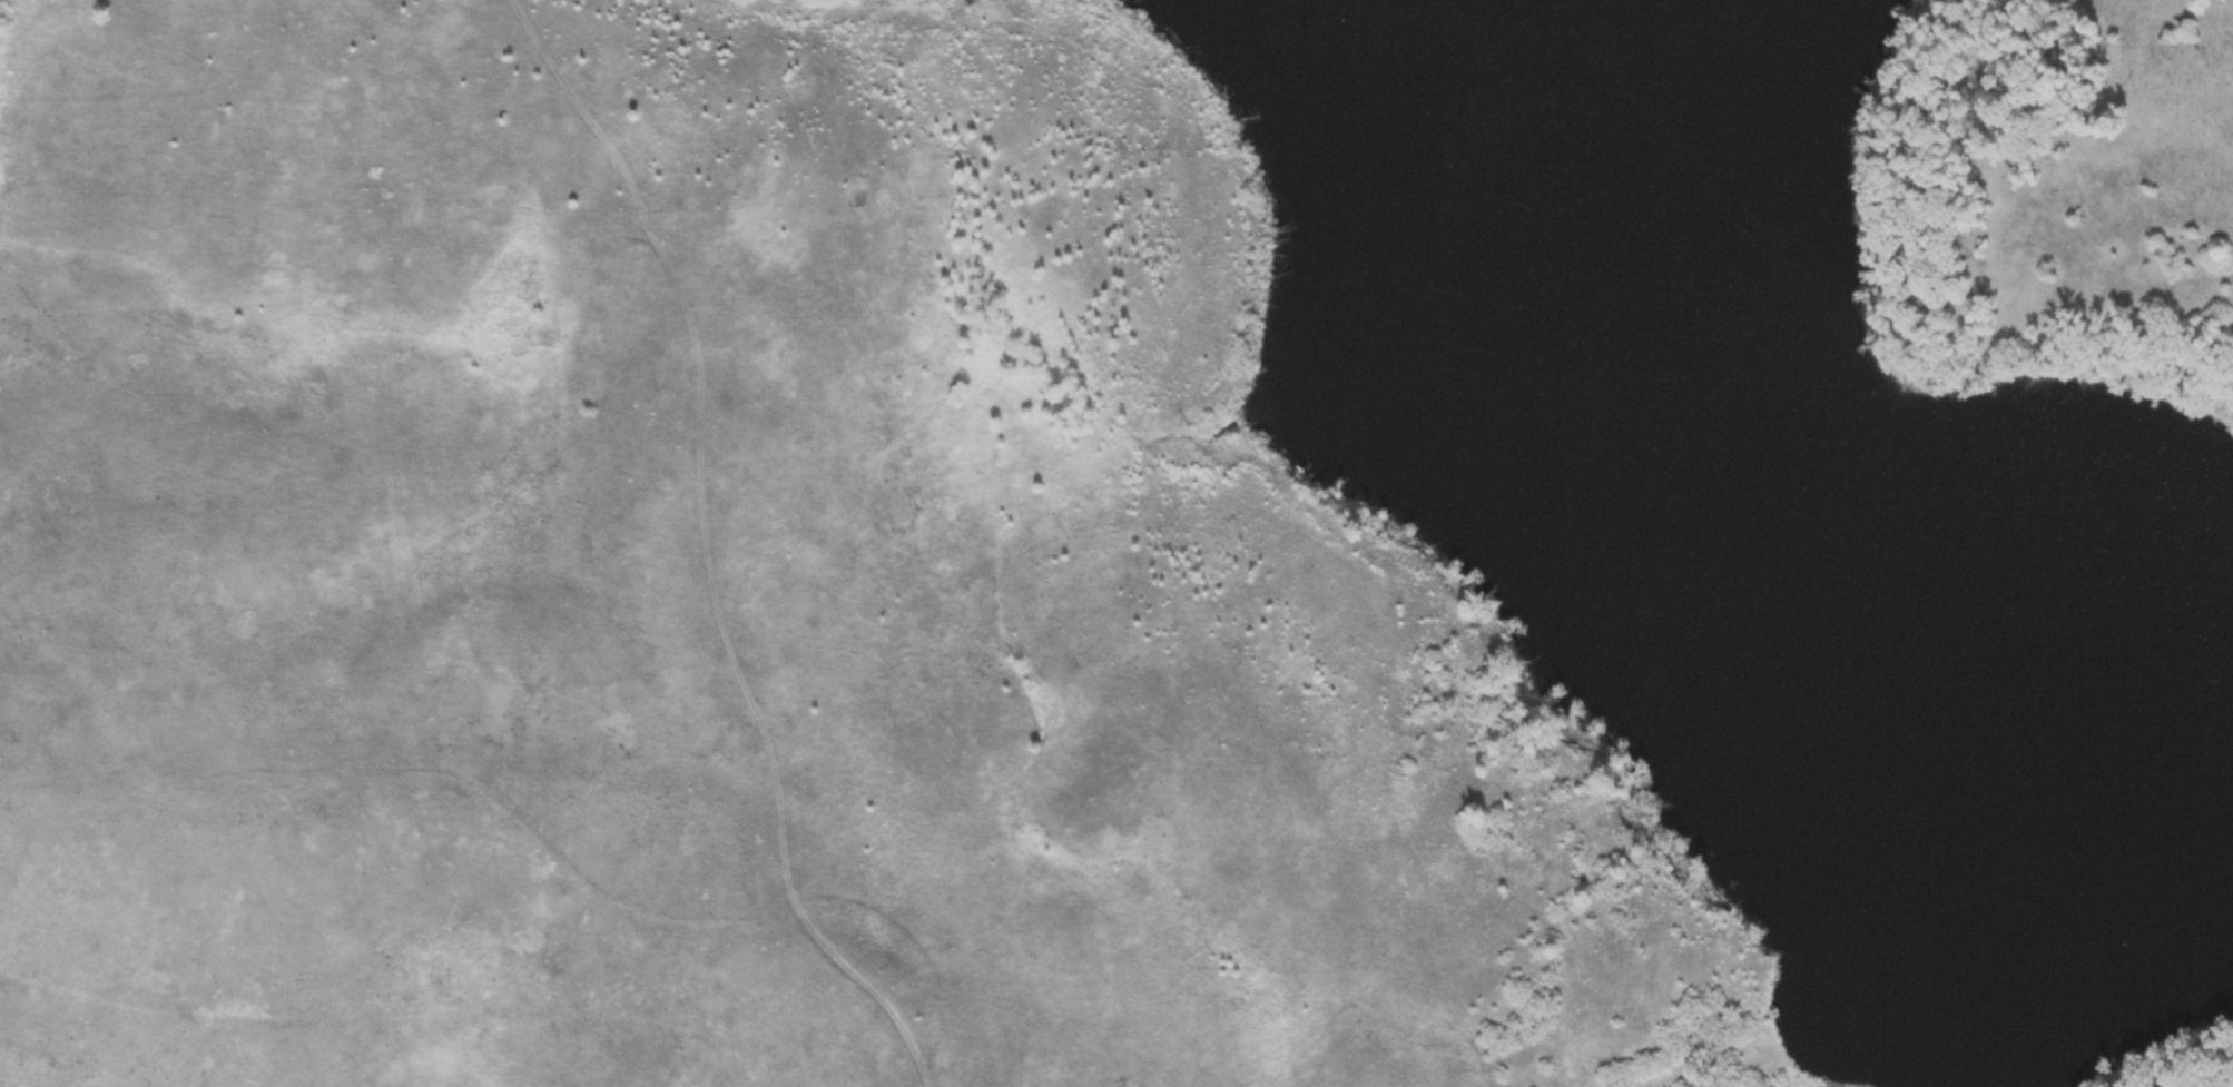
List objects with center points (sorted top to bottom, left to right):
road: (704, 549)

